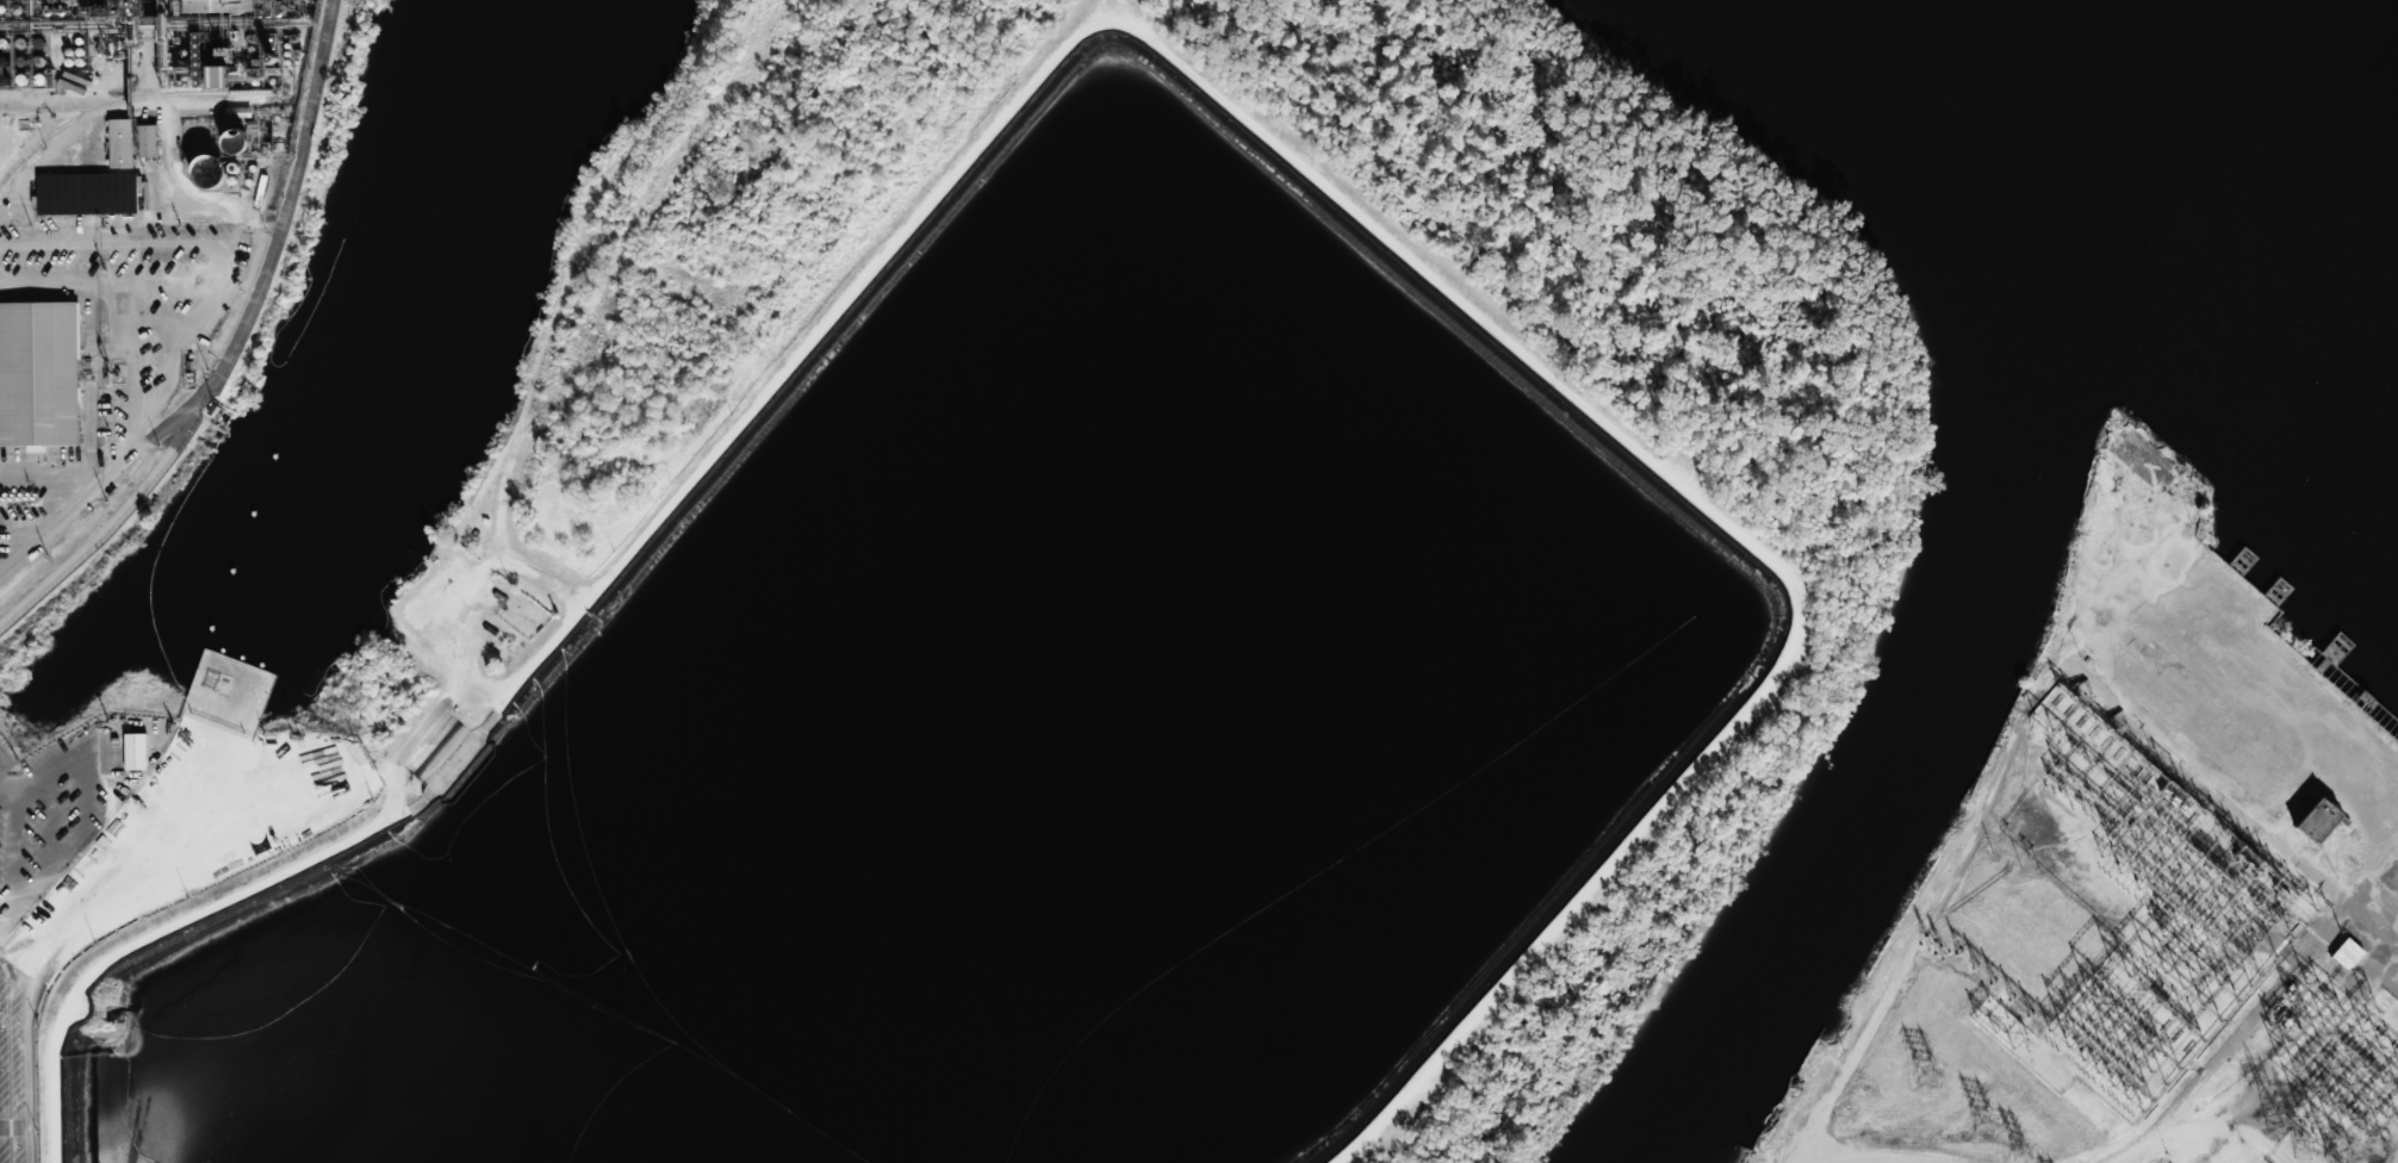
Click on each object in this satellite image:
building: (230, 6)
building: (218, 77)
railway: (122, 100)
river: (2238, 132)
building: (148, 141)
building: (120, 144)
building: (207, 172)
building: (85, 189)
building: (156, 193)
building: (38, 374)
building: (228, 695)
building: (136, 751)
building: (118, 769)
building: (2318, 821)
power substation: (2157, 951)
building: (2347, 954)
power tower: (2310, 1150)
road: (2125, 1155)
road: (1874, 1161)

